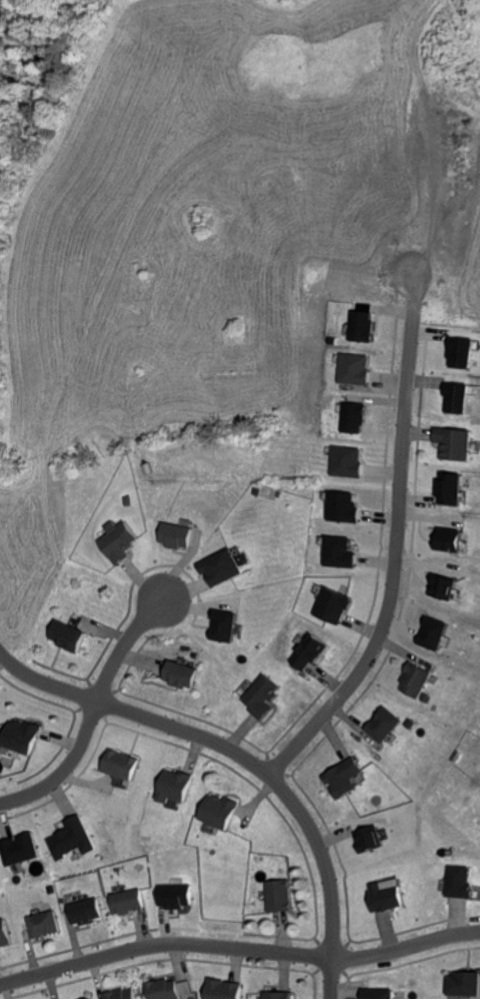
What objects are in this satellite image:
building: (364, 328)
building: (464, 354)
building: (356, 371)
building: (355, 419)
building: (457, 445)
building: (348, 463)
building: (451, 490)
building: (343, 509)
building: (177, 537)
building: (119, 543)
building: (450, 543)
building: (339, 554)
road: (393, 560)
building: (222, 570)
building: (443, 589)
building: (334, 606)
building: (224, 628)
building: (435, 636)
building: (67, 638)
road: (121, 644)
building: (311, 654)
building: (183, 677)
building: (416, 682)
building: (263, 698)
building: (385, 727)
building: (23, 739)
road: (245, 759)
road: (64, 767)
building: (124, 767)
building: (345, 780)
building: (177, 789)
building: (222, 814)
building: (73, 841)
building: (370, 841)
building: (21, 852)
building: (461, 884)
building: (177, 898)
building: (281, 898)
building: (388, 898)
building: (130, 904)
building: (86, 914)
building: (43, 927)
building: (5, 936)
road: (163, 944)
road: (405, 945)
building: (464, 985)
building: (186, 989)
building: (165, 990)
building: (225, 990)
building: (380, 994)
building: (122, 995)
building: (279, 996)

